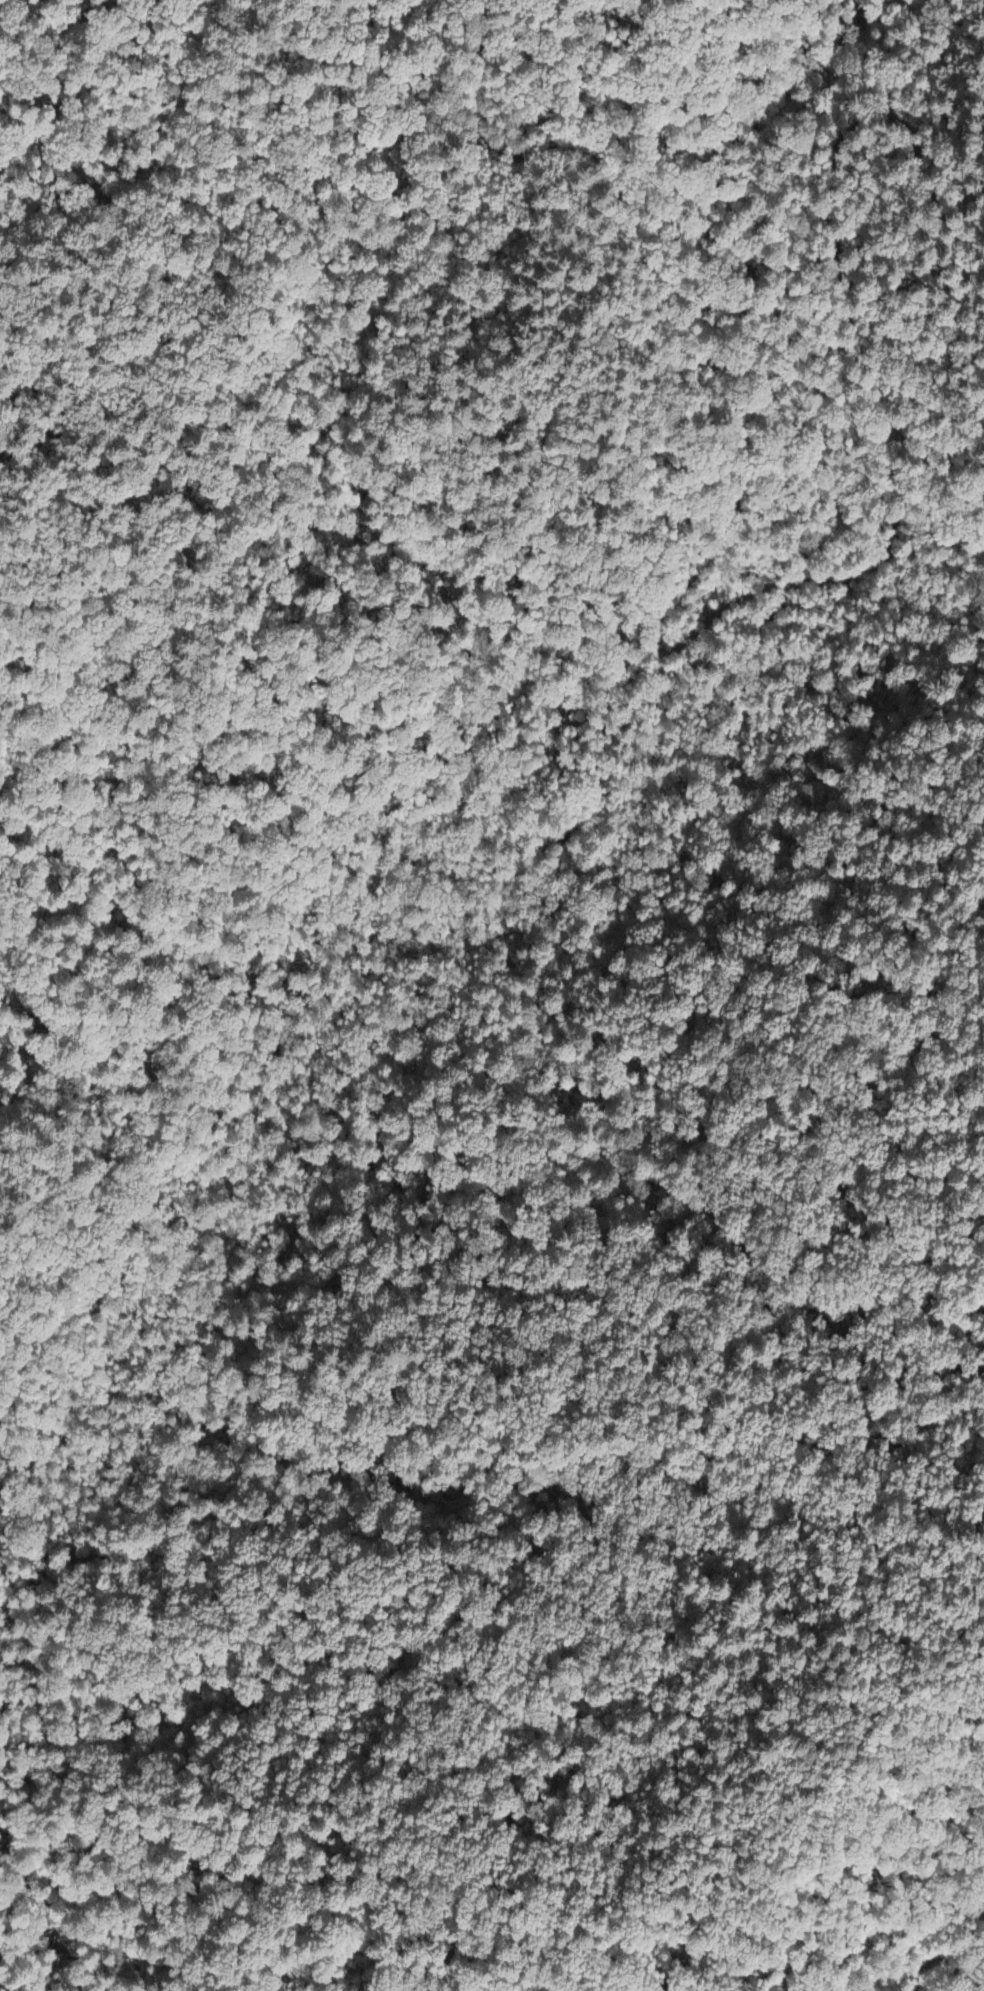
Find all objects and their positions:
road: (706, 626)
road: (235, 1043)
road: (53, 1736)
road: (835, 1774)

